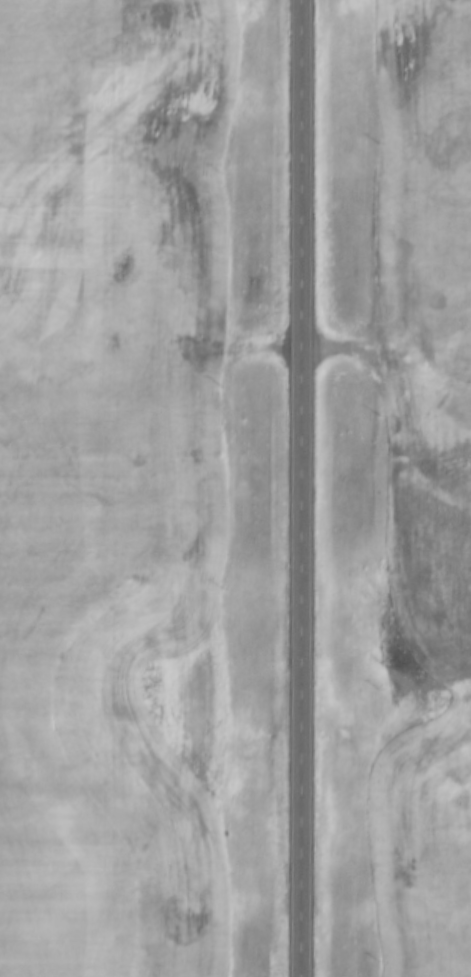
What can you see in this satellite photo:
road: (297, 488)

